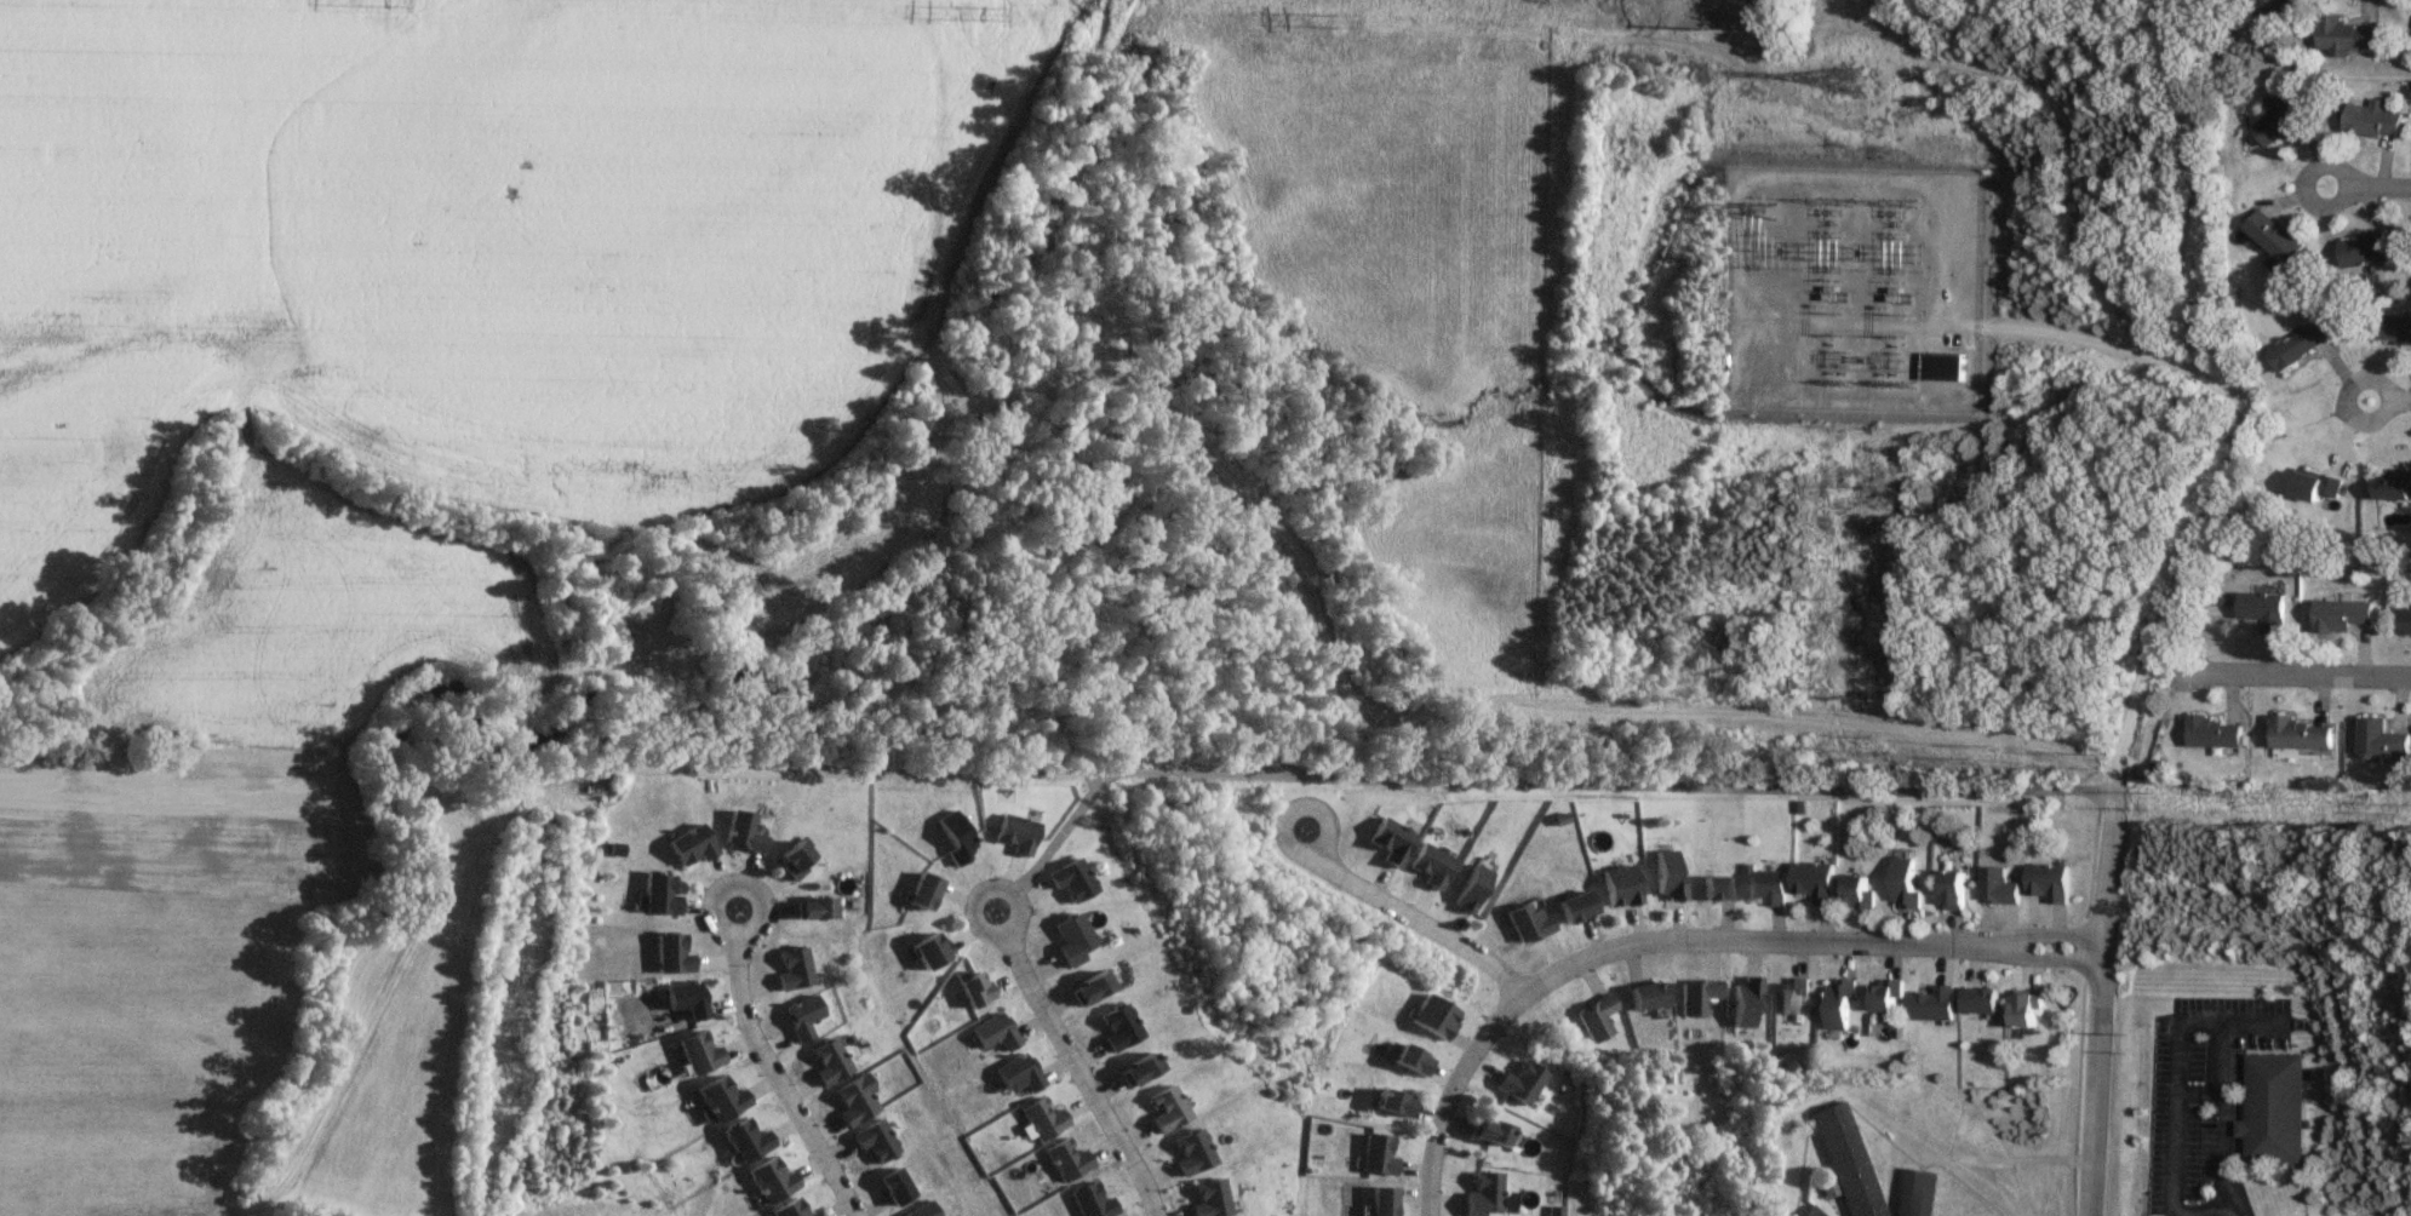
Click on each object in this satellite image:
building: (2275, 8)
building: (2410, 33)
building: (2346, 35)
power tower: (1846, 78)
building: (2372, 117)
building: (2281, 119)
road: (2366, 185)
road: (2194, 194)
building: (2274, 237)
crop: (473, 247)
building: (2363, 247)
power substation: (1849, 283)
building: (2395, 327)
building: (2300, 344)
building: (1940, 366)
road: (2389, 397)
building: (2315, 484)
building: (2394, 486)
building: (2263, 609)
building: (2340, 614)
building: (2405, 621)
crop: (313, 627)
road: (2293, 673)
building: (2210, 732)
building: (2298, 733)
building: (2379, 739)
road: (1518, 781)
road: (2112, 790)
building: (739, 833)
building: (1013, 833)
building: (952, 837)
building: (1387, 842)
building: (687, 847)
building: (790, 861)
building: (1427, 866)
building: (1666, 877)
building: (1067, 881)
building: (1812, 881)
building: (2049, 882)
building: (1903, 884)
building: (1617, 885)
building: (1764, 885)
building: (1467, 888)
building: (1716, 888)
building: (1953, 890)
building: (1857, 891)
building: (655, 895)
building: (1571, 907)
building: (812, 908)
road: (1403, 910)
road: (1679, 941)
building: (928, 951)
building: (669, 956)
crop: (151, 965)
building: (1087, 988)
building: (1884, 994)
building: (1643, 996)
building: (1791, 996)
building: (1980, 1000)
building: (1743, 1002)
building: (1837, 1002)
building: (2025, 1009)
building: (1428, 1016)
building: (1592, 1017)
building: (695, 1052)
building: (1405, 1060)
road: (1078, 1063)
building: (1135, 1069)
road: (769, 1072)
building: (1517, 1082)
road: (2221, 1092)
building: (717, 1099)
road: (2177, 1102)
building: (1390, 1103)
building: (2269, 1107)
building: (1485, 1131)
building: (876, 1140)
building: (1844, 1160)
building: (894, 1186)
building: (1913, 1192)
building: (1482, 1194)
building: (922, 1210)
building: (1805, 1211)
road: (2217, 1211)

